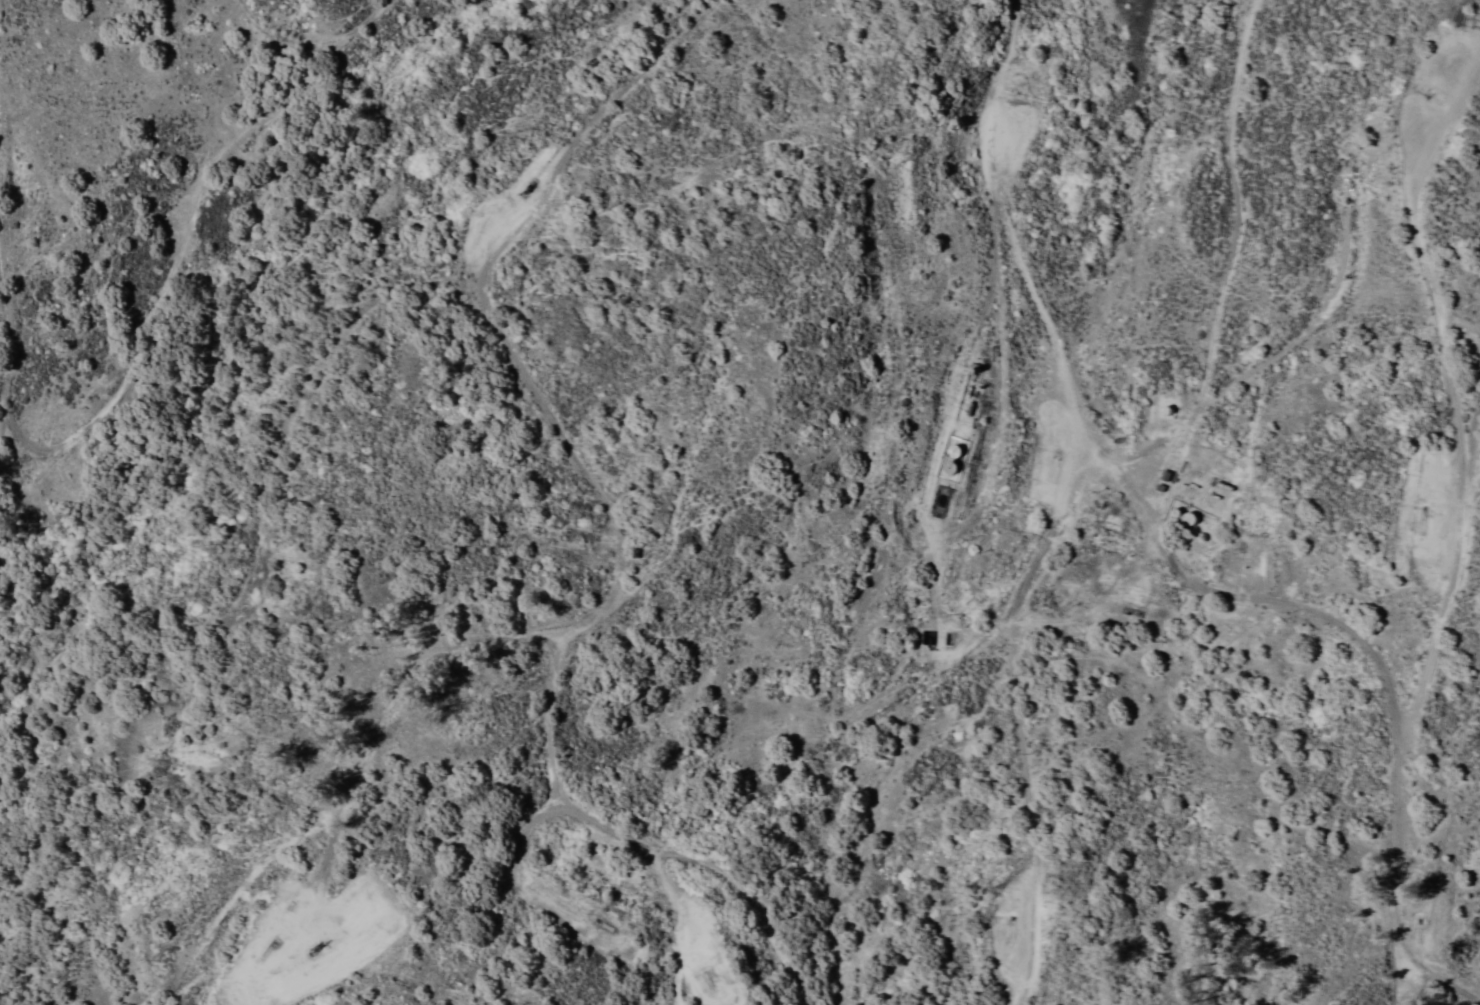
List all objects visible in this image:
road: (1455, 389)
road: (1178, 563)
road: (452, 646)
road: (1019, 714)
road: (714, 867)

